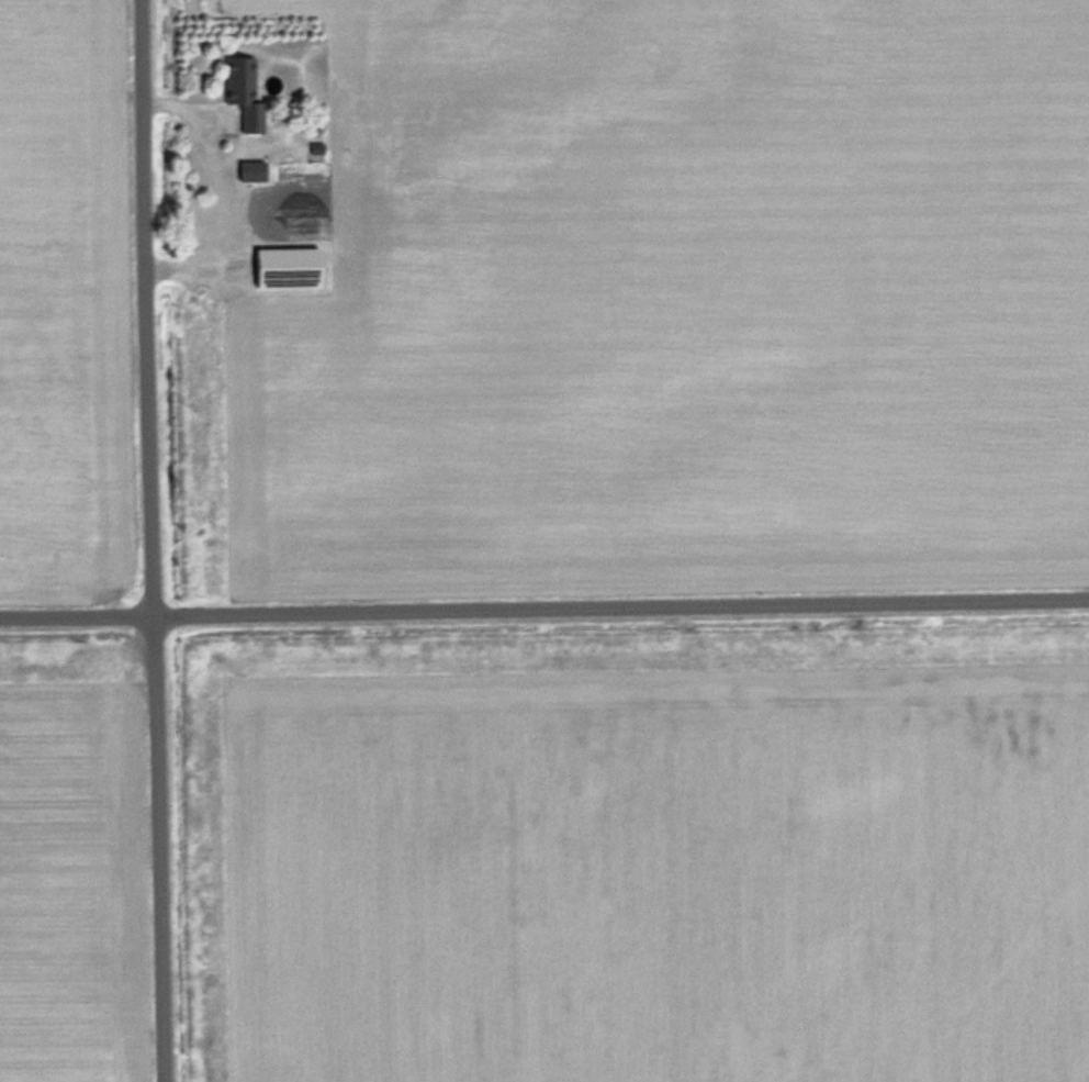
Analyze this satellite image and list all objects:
building: (246, 90)
building: (255, 169)
building: (292, 266)
road: (161, 540)
road: (544, 610)

